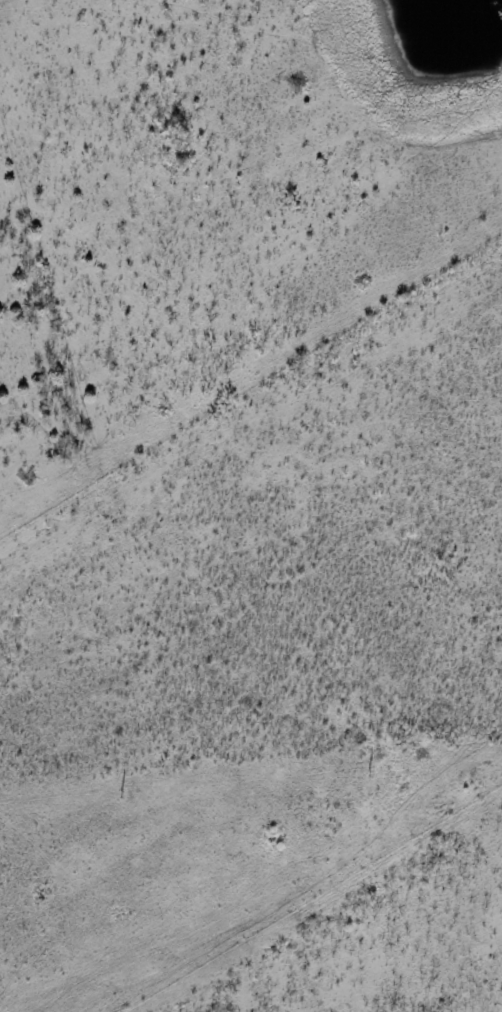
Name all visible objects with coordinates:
power tower: (369, 773)
power tower: (120, 794)

